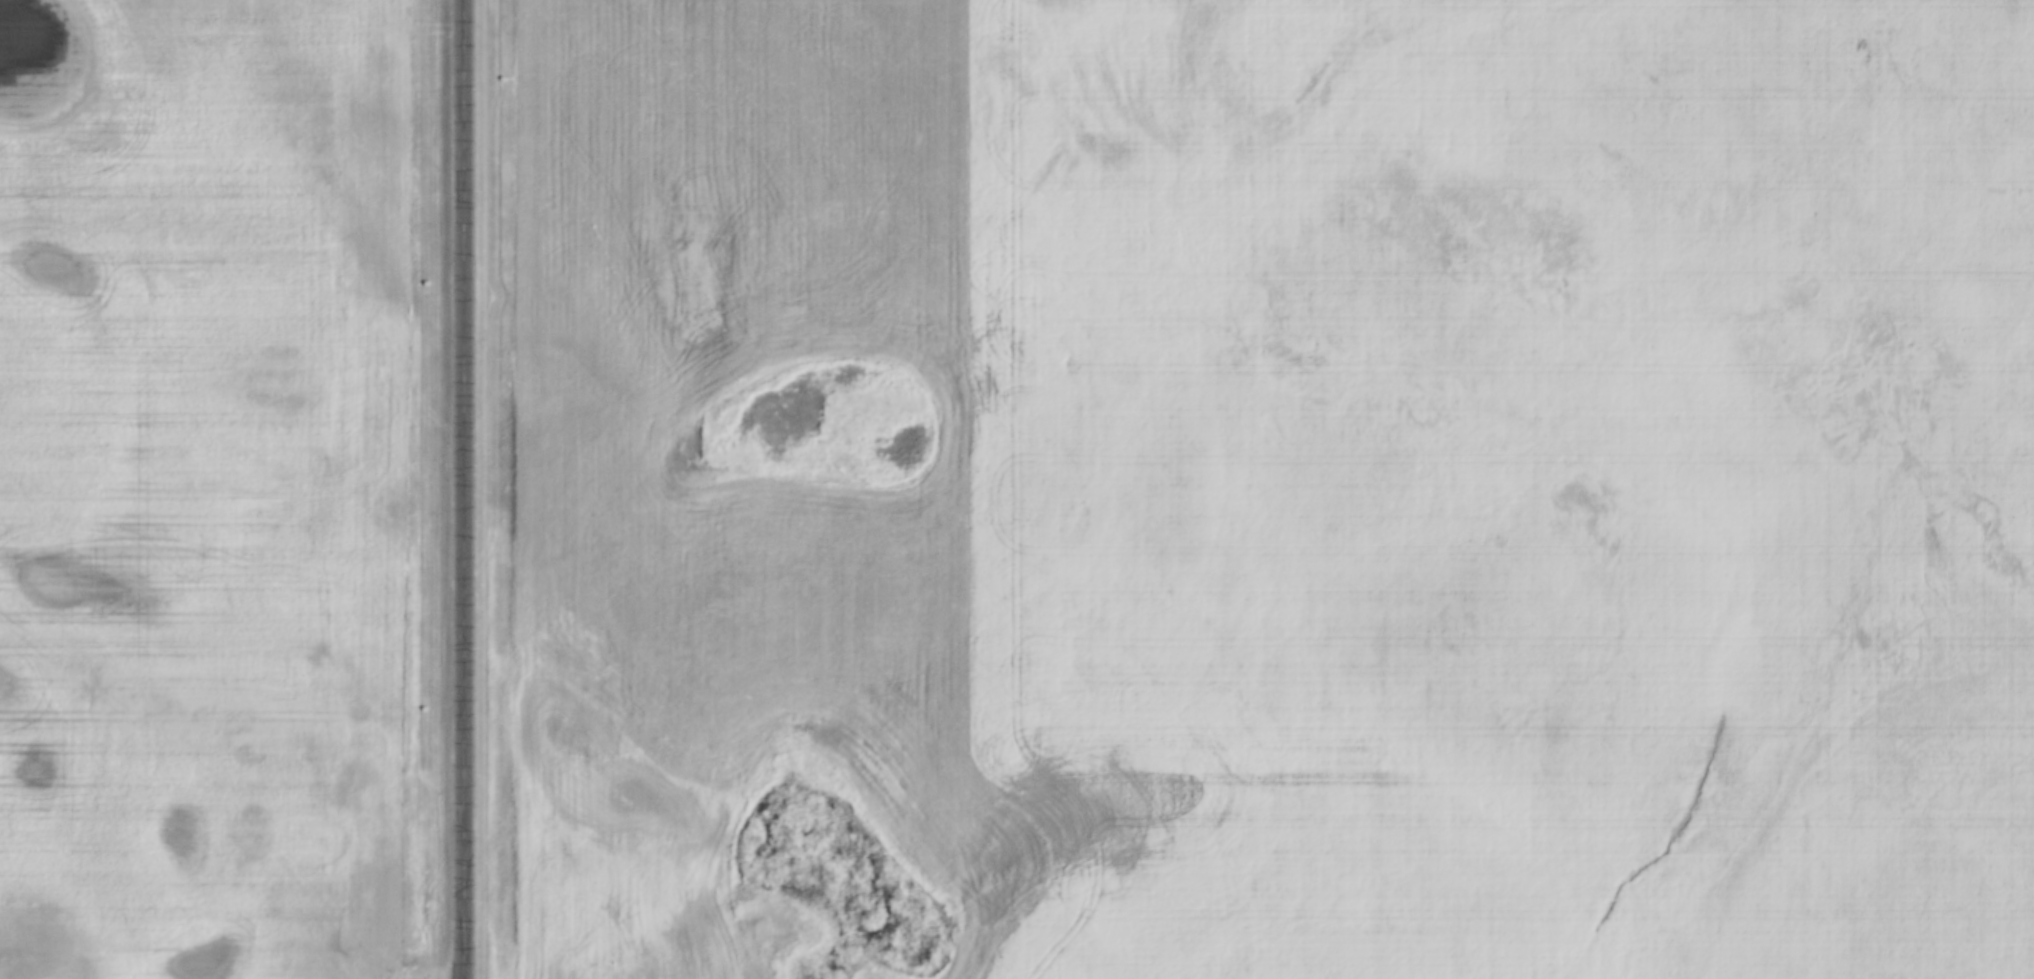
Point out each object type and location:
road: (463, 489)

